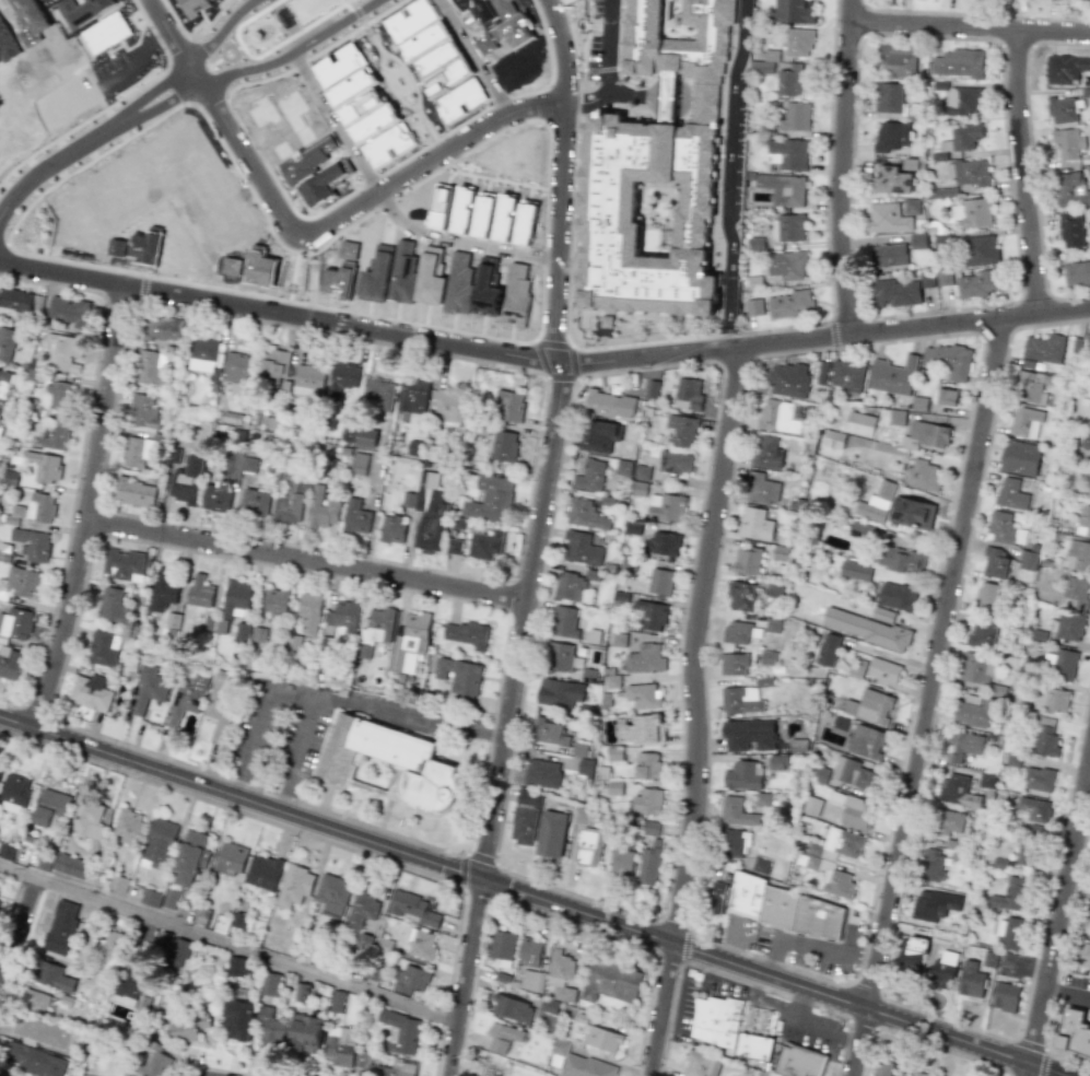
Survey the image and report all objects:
building: (795, 11)
road: (969, 27)
road: (221, 32)
building: (106, 33)
building: (799, 43)
road: (611, 46)
road: (296, 52)
road: (470, 58)
building: (895, 60)
building: (766, 62)
building: (959, 63)
building: (1066, 69)
building: (792, 81)
road: (629, 94)
building: (889, 97)
road: (588, 100)
building: (963, 102)
building: (1062, 110)
building: (797, 117)
road: (335, 125)
building: (891, 136)
road: (91, 139)
building: (1067, 143)
building: (788, 154)
road: (842, 167)
building: (1089, 168)
road: (1023, 172)
road: (731, 173)
building: (969, 173)
road: (563, 178)
building: (891, 180)
building: (785, 189)
building: (1070, 190)
building: (945, 191)
building: (912, 207)
building: (973, 213)
building: (888, 219)
building: (788, 227)
building: (1070, 230)
road: (308, 234)
building: (918, 241)
road: (458, 246)
building: (982, 250)
building: (889, 255)
building: (788, 265)
building: (1077, 273)
building: (944, 278)
building: (926, 279)
building: (978, 283)
building: (896, 293)
building: (15, 300)
building: (792, 304)
building: (754, 307)
building: (68, 311)
building: (163, 328)
building: (1088, 342)
building: (7, 343)
building: (1044, 348)
building: (203, 354)
road: (541, 360)
building: (947, 360)
building: (274, 366)
building: (151, 369)
building: (821, 372)
building: (847, 375)
building: (893, 376)
building: (501, 377)
building: (342, 378)
building: (788, 379)
building: (308, 381)
building: (3, 384)
building: (1033, 386)
building: (378, 394)
building: (413, 394)
building: (688, 395)
building: (58, 397)
building: (947, 397)
building: (609, 403)
building: (448, 406)
building: (508, 406)
building: (144, 410)
building: (778, 417)
building: (896, 417)
building: (1025, 422)
building: (0, 423)
building: (860, 424)
building: (350, 428)
building: (682, 430)
building: (55, 435)
building: (927, 435)
building: (599, 436)
building: (36, 440)
building: (832, 440)
building: (504, 446)
building: (414, 447)
building: (1083, 447)
building: (137, 452)
building: (766, 453)
building: (1020, 458)
building: (676, 463)
building: (360, 464)
building: (239, 465)
building: (45, 466)
building: (642, 472)
building: (589, 476)
building: (922, 476)
building: (10, 478)
building: (187, 481)
building: (638, 488)
building: (762, 489)
building: (136, 492)
building: (1089, 492)
building: (1011, 494)
building: (216, 495)
building: (881, 498)
building: (491, 500)
building: (289, 501)
building: (254, 502)
building: (667, 507)
building: (36, 508)
road: (91, 508)
building: (321, 508)
building: (427, 512)
building: (912, 512)
building: (585, 515)
building: (355, 517)
building: (1083, 521)
building: (757, 525)
building: (392, 528)
building: (1004, 529)
building: (31, 543)
building: (485, 545)
building: (454, 546)
building: (663, 546)
building: (582, 549)
building: (780, 553)
building: (1078, 555)
road: (307, 560)
building: (902, 560)
building: (1028, 560)
building: (747, 561)
building: (995, 562)
building: (124, 564)
building: (855, 570)
building: (23, 582)
building: (660, 582)
building: (570, 586)
building: (164, 587)
building: (199, 592)
building: (1075, 593)
building: (740, 596)
building: (898, 596)
building: (987, 597)
building: (235, 599)
building: (276, 601)
building: (112, 606)
building: (309, 612)
building: (651, 615)
building: (882, 615)
building: (343, 617)
building: (173, 620)
building: (564, 622)
building: (14, 624)
building: (1069, 627)
building: (866, 629)
building: (375, 631)
building: (242, 633)
building: (737, 633)
building: (983, 633)
building: (258, 634)
building: (467, 634)
building: (619, 639)
building: (410, 643)
building: (104, 647)
building: (828, 650)
building: (559, 657)
building: (766, 657)
building: (645, 659)
building: (9, 664)
building: (734, 664)
building: (1060, 664)
building: (976, 668)
building: (883, 670)
building: (459, 676)
building: (589, 676)
building: (612, 682)
building: (148, 688)
building: (90, 692)
building: (560, 692)
road: (290, 694)
building: (643, 695)
road: (930, 697)
building: (186, 699)
building: (1054, 700)
building: (741, 701)
building: (219, 704)
building: (874, 707)
road: (698, 711)
building: (975, 711)
road: (396, 716)
road: (504, 718)
building: (1046, 722)
building: (643, 729)
building: (548, 733)
road: (491, 734)
building: (749, 735)
building: (1046, 740)
building: (866, 742)
building: (798, 745)
building: (963, 746)
building: (579, 749)
road: (659, 750)
building: (614, 753)
building: (1012, 759)
building: (391, 761)
building: (777, 762)
building: (647, 767)
building: (585, 768)
building: (0, 773)
building: (541, 773)
building: (854, 774)
building: (743, 775)
building: (821, 775)
building: (1039, 780)
road: (233, 785)
building: (614, 787)
building: (959, 791)
building: (14, 793)
building: (529, 798)
building: (762, 799)
road: (279, 802)
building: (647, 802)
building: (811, 806)
building: (50, 807)
building: (853, 809)
building: (1034, 809)
building: (736, 812)
building: (89, 821)
building: (948, 822)
building: (523, 824)
building: (128, 826)
building: (651, 828)
building: (551, 833)
building: (735, 842)
building: (159, 845)
building: (588, 847)
building: (1028, 854)
building: (190, 857)
building: (230, 858)
building: (621, 861)
building: (649, 863)
building: (825, 864)
building: (70, 865)
building: (760, 865)
building: (933, 866)
building: (263, 872)
building: (119, 884)
building: (294, 886)
building: (332, 894)
building: (1010, 894)
road: (532, 896)
building: (152, 898)
building: (171, 898)
building: (716, 898)
building: (926, 907)
building: (783, 908)
building: (413, 909)
building: (361, 910)
road: (1056, 911)
building: (1086, 917)
building: (62, 927)
road: (17, 928)
building: (1009, 933)
road: (226, 941)
building: (363, 941)
building: (109, 943)
building: (422, 945)
building: (503, 945)
road: (810, 946)
road: (734, 947)
building: (178, 952)
building: (529, 952)
building: (911, 954)
building: (1083, 956)
building: (239, 967)
building: (944, 969)
building: (560, 975)
building: (54, 976)
building: (971, 978)
building: (411, 980)
building: (532, 981)
building: (611, 982)
building: (270, 984)
building: (129, 985)
road: (1066, 990)
building: (301, 993)
building: (1004, 996)
building: (37, 1001)
building: (337, 1001)
building: (549, 1006)
building: (513, 1009)
road: (774, 1013)
building: (238, 1019)
building: (185, 1020)
building: (717, 1022)
road: (829, 1030)
building: (270, 1031)
building: (46, 1032)
building: (401, 1032)
building: (306, 1033)
building: (1075, 1033)
building: (503, 1037)
building: (603, 1039)
building: (753, 1046)
building: (341, 1048)
building: (34, 1060)
building: (155, 1062)
building: (799, 1062)
building: (400, 1063)
building: (701, 1064)
building: (585, 1067)
building: (883, 1068)
building: (494, 1069)
building: (0, 1075)
building: (917, 1075)

